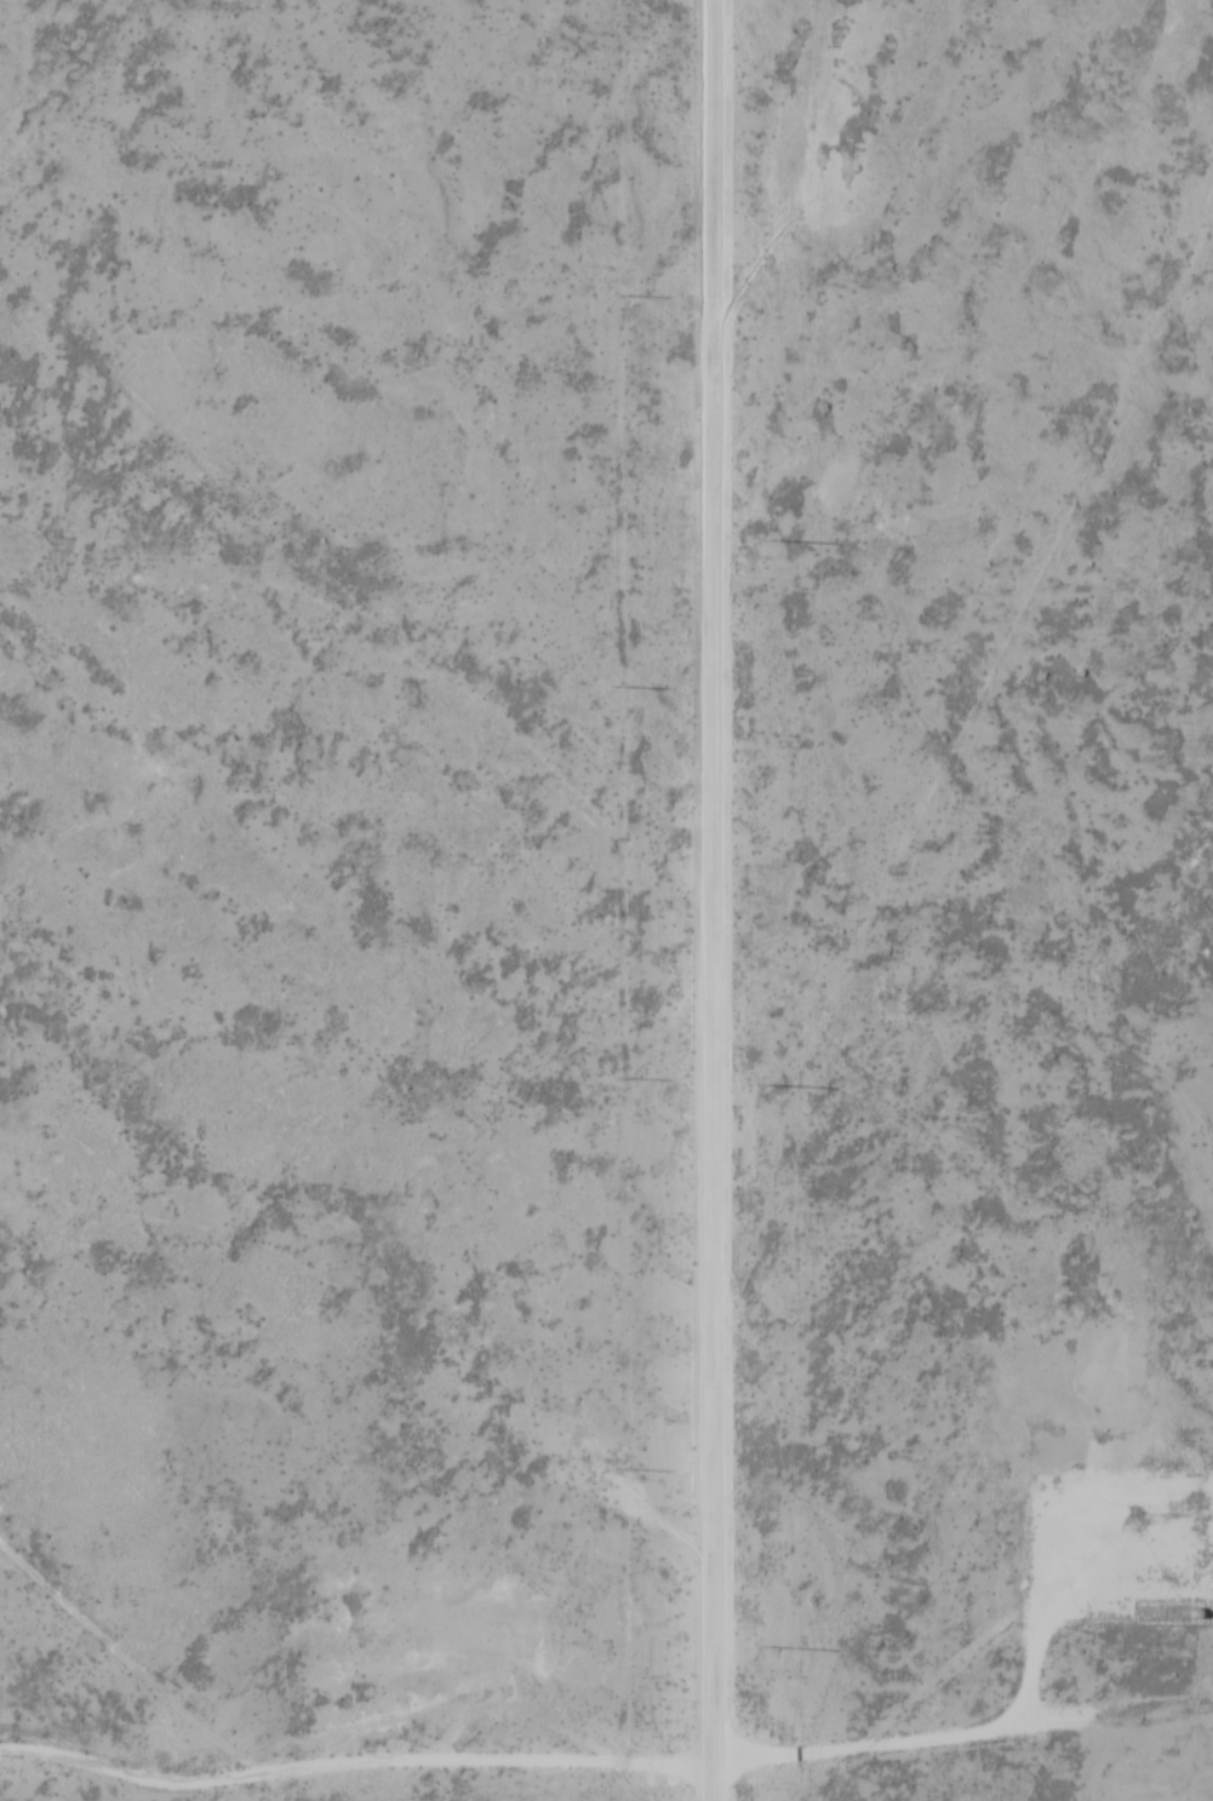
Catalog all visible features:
power tower: (614, 294)
power tower: (762, 540)
power tower: (617, 686)
road: (708, 900)
power tower: (619, 1076)
power tower: (766, 1083)
power tower: (622, 1467)
road: (1060, 1558)
power tower: (766, 1645)
road: (605, 1765)

